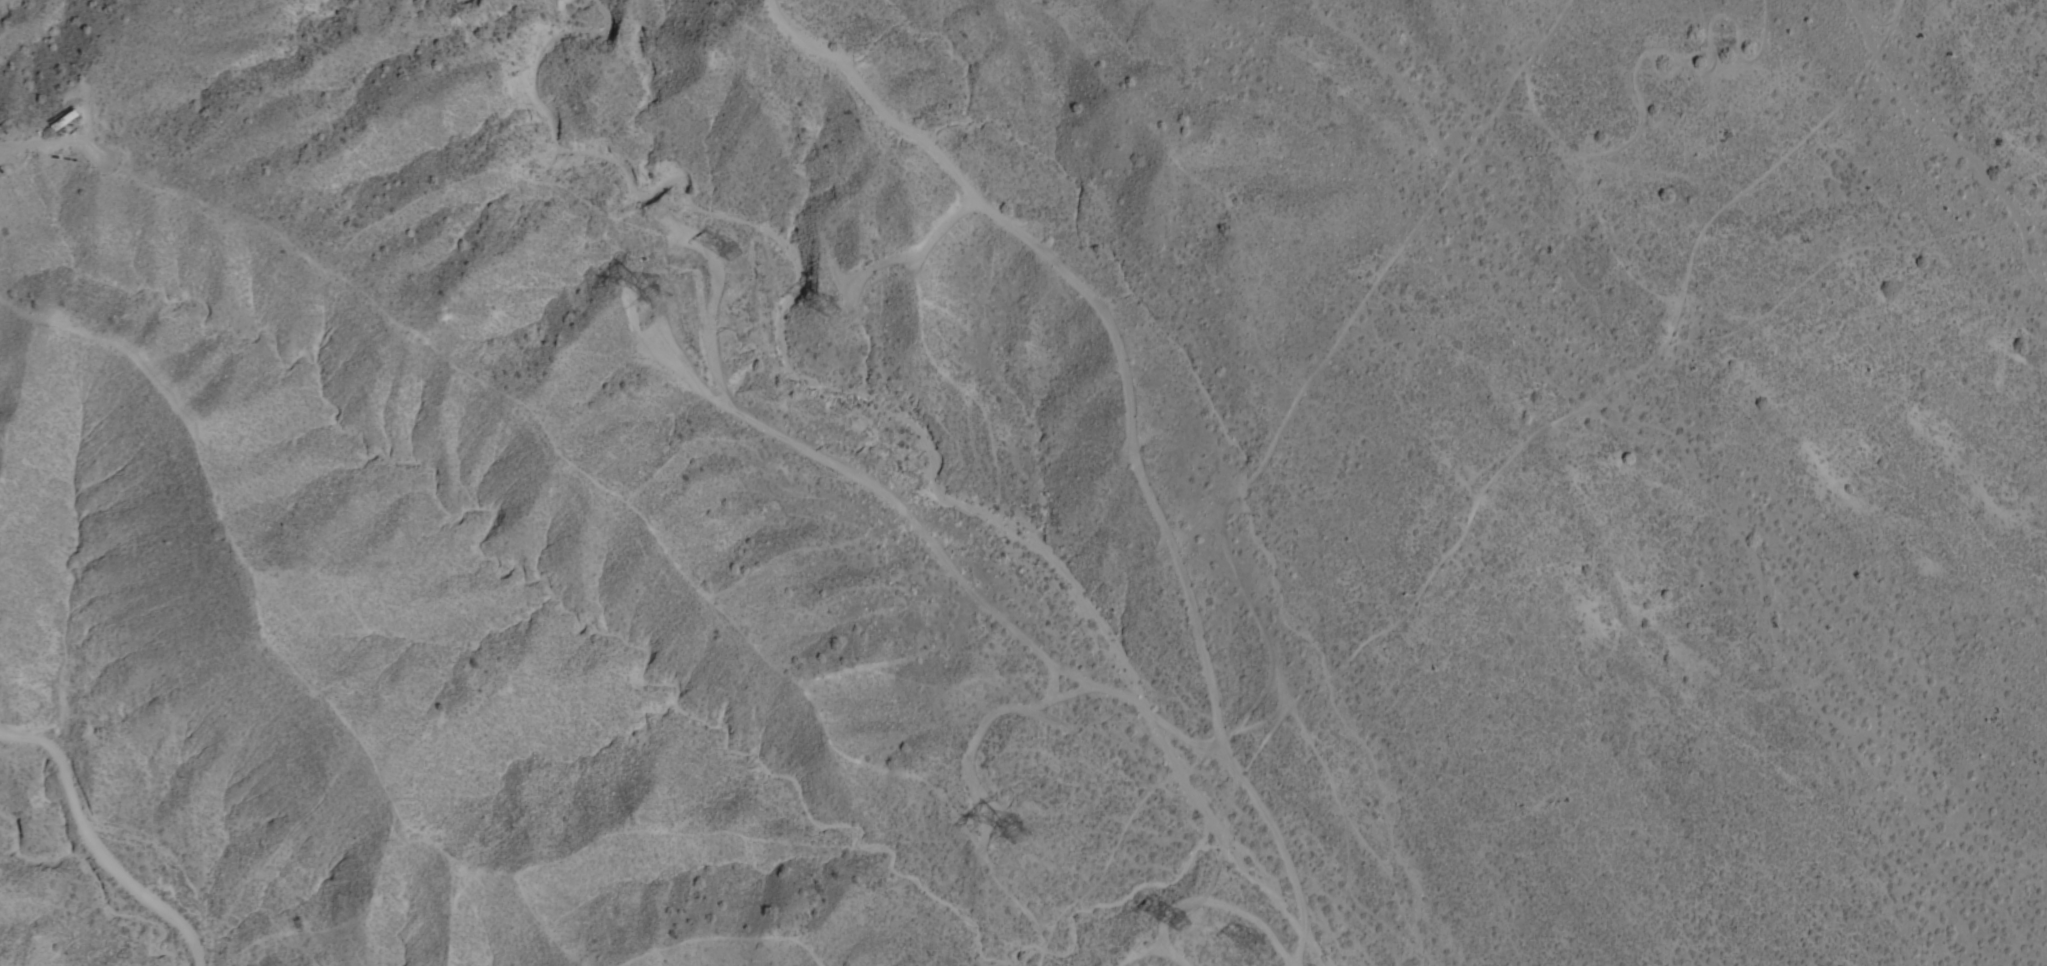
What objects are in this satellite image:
power tower: (736, 243)
power tower: (666, 282)
power tower: (837, 304)
power tower: (1020, 820)
road: (93, 853)
power tower: (1187, 923)
power tower: (1257, 948)

